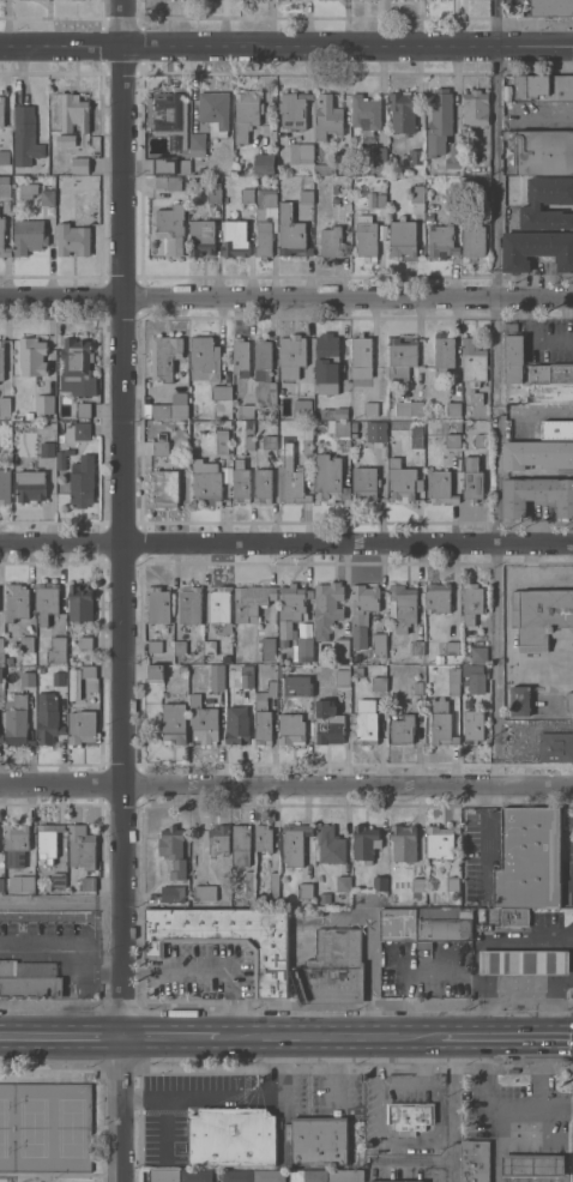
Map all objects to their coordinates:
building: (551, 7)
road: (285, 48)
building: (545, 86)
building: (475, 108)
building: (294, 109)
building: (1, 110)
building: (404, 110)
building: (215, 111)
building: (246, 114)
building: (366, 114)
building: (327, 117)
building: (72, 119)
building: (171, 119)
building: (439, 121)
building: (25, 135)
building: (197, 145)
building: (542, 151)
building: (301, 152)
building: (379, 155)
building: (4, 157)
building: (416, 157)
building: (453, 157)
building: (391, 159)
building: (340, 162)
building: (264, 163)
building: (80, 164)
building: (163, 165)
building: (324, 169)
building: (169, 182)
building: (193, 182)
building: (482, 183)
building: (5, 187)
building: (334, 188)
building: (550, 189)
building: (28, 191)
building: (213, 192)
building: (417, 194)
building: (247, 195)
building: (47, 197)
building: (306, 197)
building: (334, 199)
building: (372, 200)
building: (381, 200)
building: (440, 200)
building: (544, 218)
building: (264, 222)
building: (170, 228)
building: (291, 233)
building: (382, 233)
building: (29, 236)
building: (235, 236)
building: (201, 237)
building: (403, 237)
building: (2, 240)
building: (72, 240)
building: (366, 241)
building: (474, 241)
building: (331, 242)
building: (442, 242)
building: (537, 249)
road: (285, 296)
building: (514, 349)
building: (444, 354)
building: (291, 355)
building: (32, 356)
building: (165, 356)
building: (361, 356)
building: (402, 356)
building: (241, 357)
building: (1, 360)
building: (204, 360)
building: (327, 363)
building: (77, 367)
building: (474, 367)
building: (263, 373)
building: (221, 392)
building: (551, 392)
road: (497, 393)
building: (179, 396)
building: (44, 404)
building: (5, 406)
building: (302, 408)
building: (409, 408)
building: (370, 409)
building: (453, 409)
building: (83, 410)
building: (169, 410)
building: (247, 410)
building: (334, 414)
building: (29, 415)
building: (338, 427)
building: (557, 429)
building: (82, 430)
building: (375, 432)
building: (1, 434)
building: (249, 434)
building: (416, 436)
building: (452, 440)
building: (482, 440)
building: (222, 441)
building: (307, 441)
building: (269, 442)
building: (161, 448)
building: (47, 450)
building: (537, 454)
building: (62, 458)
building: (225, 466)
building: (292, 478)
building: (330, 478)
building: (472, 478)
building: (83, 481)
building: (403, 481)
building: (240, 482)
building: (206, 483)
building: (364, 484)
building: (5, 486)
building: (30, 486)
building: (264, 486)
building: (441, 487)
building: (165, 488)
building: (537, 495)
road: (120, 518)
road: (285, 542)
building: (439, 597)
building: (252, 601)
building: (17, 602)
building: (48, 602)
building: (80, 603)
building: (472, 603)
building: (158, 604)
building: (189, 604)
building: (219, 604)
building: (403, 607)
building: (327, 608)
building: (291, 610)
building: (362, 611)
building: (541, 617)
building: (85, 641)
building: (304, 643)
building: (26, 644)
building: (379, 645)
building: (155, 646)
building: (342, 646)
building: (180, 647)
building: (210, 647)
building: (417, 647)
building: (452, 647)
building: (264, 649)
building: (56, 650)
building: (1, 651)
building: (478, 655)
building: (358, 656)
building: (237, 657)
building: (8, 659)
building: (40, 659)
building: (439, 659)
building: (40, 669)
building: (182, 669)
building: (74, 671)
building: (89, 671)
building: (156, 671)
building: (358, 671)
building: (1, 674)
building: (192, 675)
building: (217, 676)
building: (342, 677)
building: (475, 677)
building: (28, 679)
building: (58, 679)
building: (198, 679)
building: (247, 680)
building: (454, 680)
building: (378, 682)
building: (417, 688)
building: (304, 689)
building: (520, 700)
building: (569, 700)
building: (264, 713)
building: (16, 719)
building: (48, 719)
building: (203, 720)
building: (174, 723)
building: (328, 723)
building: (441, 723)
building: (367, 724)
building: (237, 725)
building: (82, 726)
building: (472, 726)
building: (291, 729)
building: (402, 730)
building: (1, 737)
building: (555, 746)
road: (285, 788)
building: (17, 836)
building: (263, 838)
building: (218, 839)
building: (48, 842)
building: (364, 842)
building: (404, 842)
building: (440, 842)
building: (241, 844)
building: (295, 844)
building: (330, 844)
building: (82, 848)
building: (173, 851)
building: (529, 857)
building: (59, 879)
building: (20, 881)
building: (379, 882)
building: (1, 884)
building: (89, 884)
building: (343, 884)
building: (453, 884)
building: (249, 885)
building: (417, 885)
building: (273, 886)
building: (466, 888)
building: (306, 889)
building: (205, 893)
building: (177, 894)
building: (324, 899)
building: (285, 900)
road: (60, 906)
road: (60, 916)
building: (514, 917)
building: (426, 924)
building: (478, 927)
building: (227, 937)
road: (54, 942)
building: (524, 961)
road: (210, 967)
building: (333, 969)
road: (99, 976)
road: (368, 976)
building: (28, 979)
road: (60, 1037)
road: (169, 1037)
road: (328, 1037)
road: (506, 1038)
road: (423, 1068)
road: (229, 1099)
road: (120, 1109)
road: (453, 1109)
building: (410, 1116)
building: (231, 1136)
road: (384, 1138)
building: (319, 1140)
building: (476, 1160)
road: (412, 1162)
building: (533, 1165)
building: (163, 1175)
building: (344, 1175)
building: (197, 1176)
building: (237, 1176)
building: (270, 1176)
building: (308, 1176)
building: (386, 1181)

